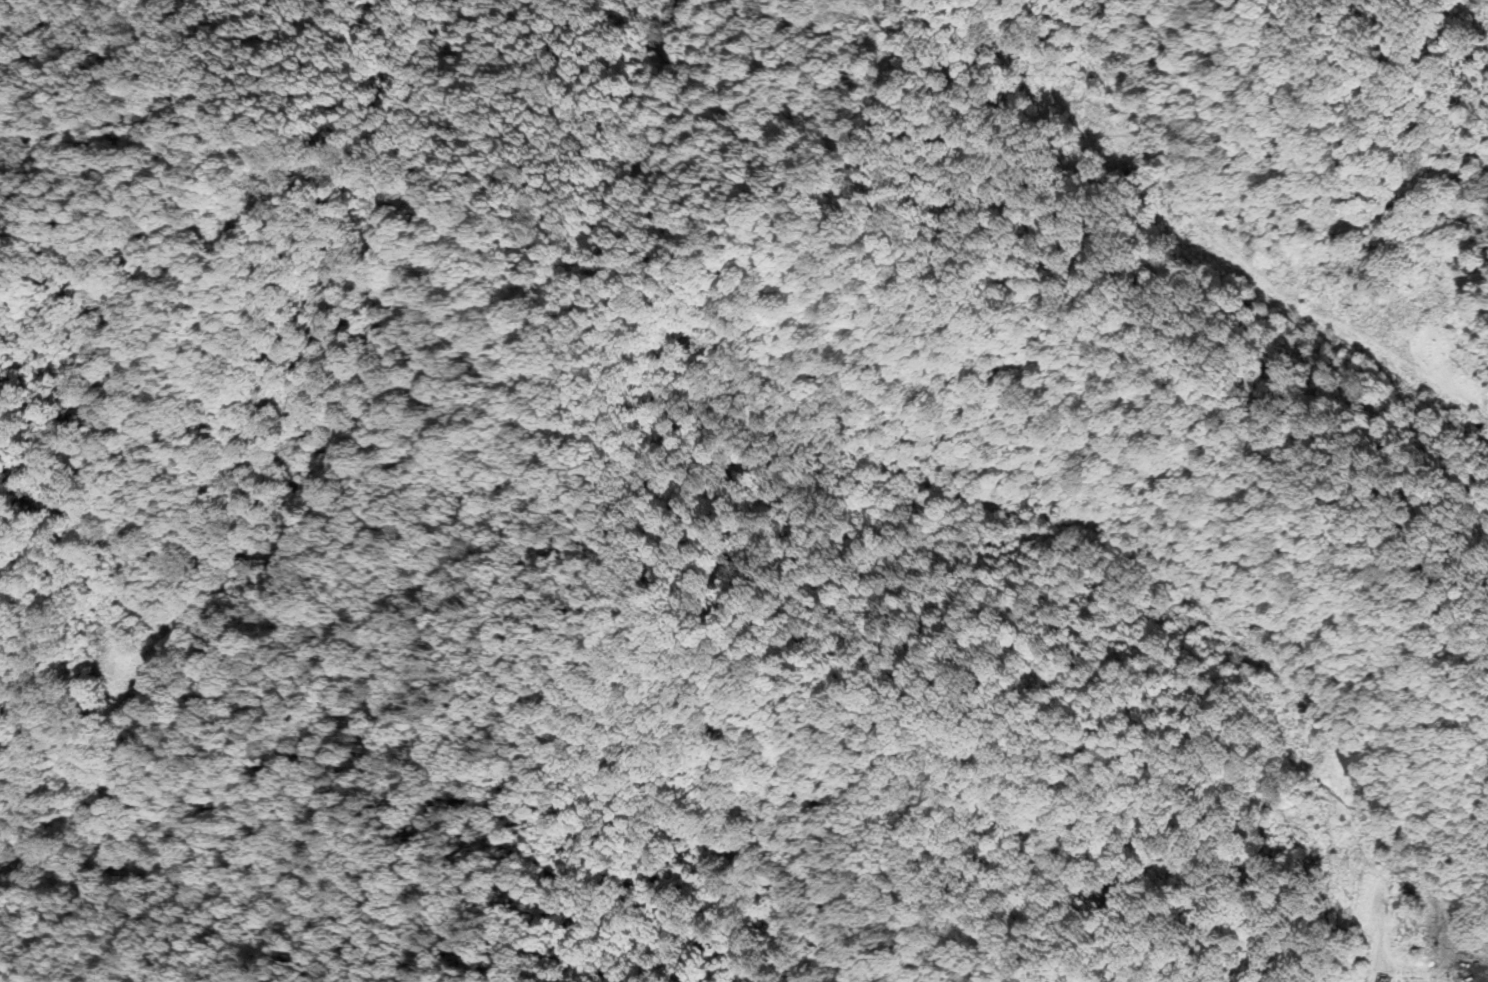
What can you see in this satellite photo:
building: (1341, 759)

